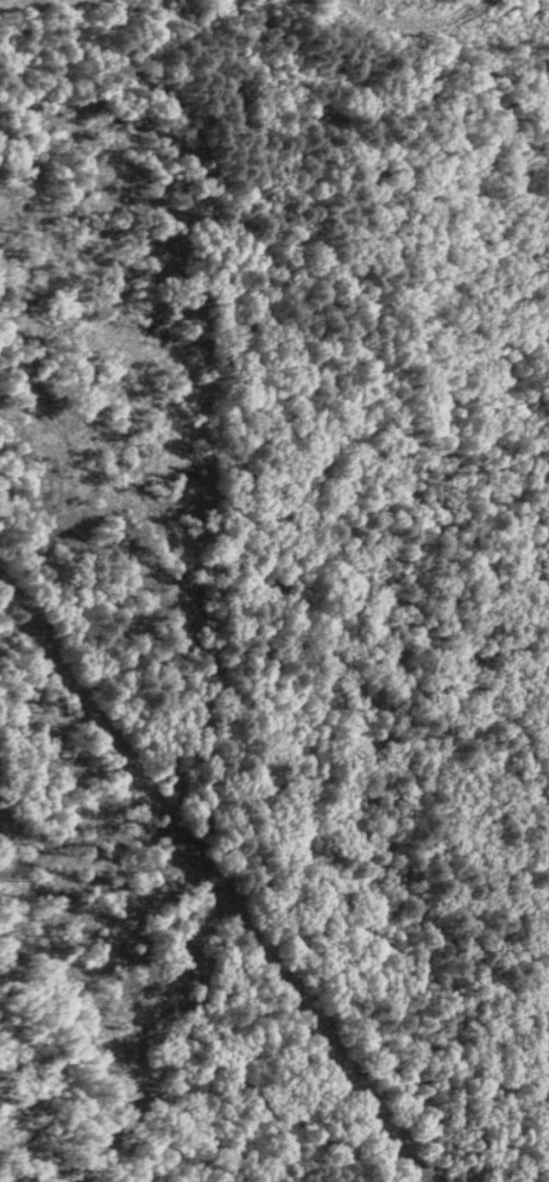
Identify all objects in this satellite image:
road: (378, 389)
road: (302, 694)

